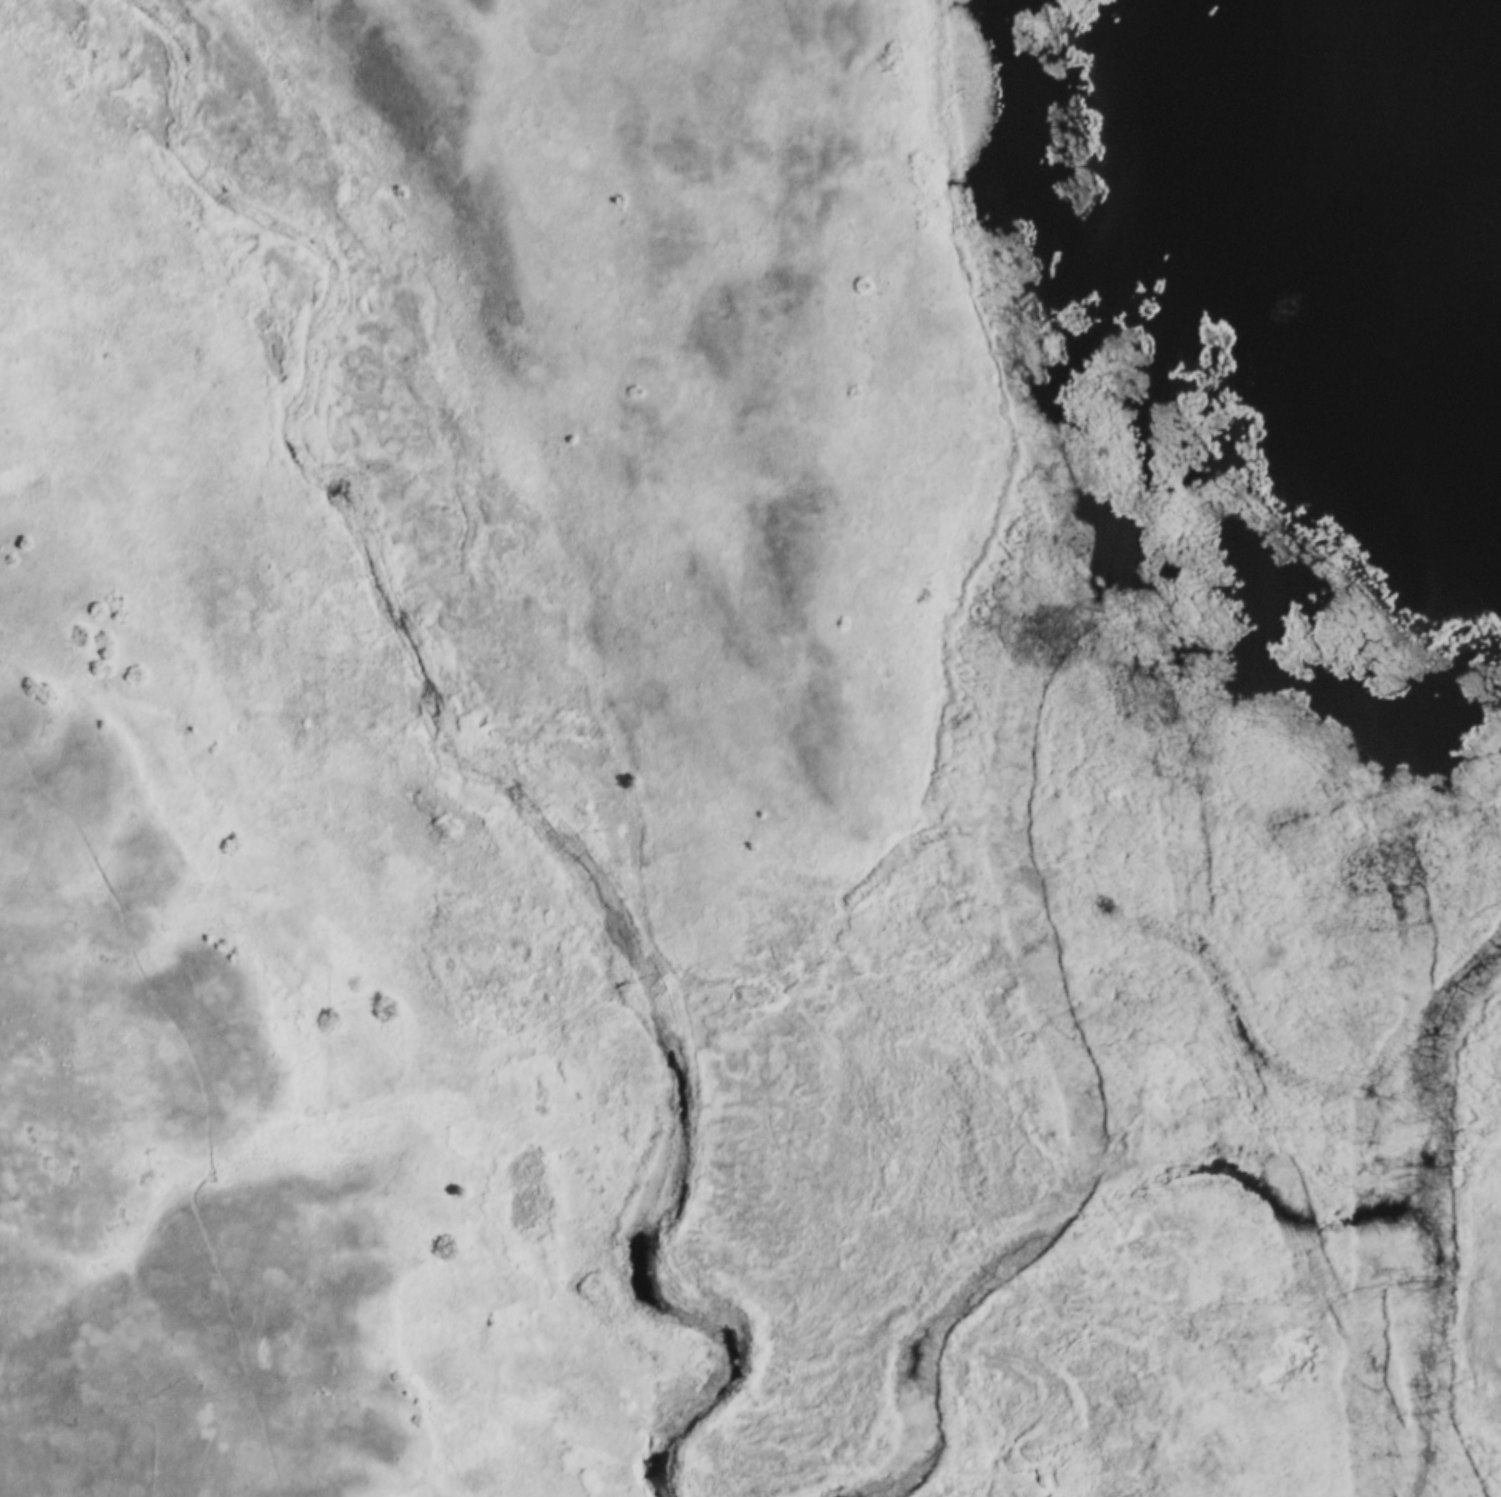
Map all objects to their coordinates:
river: (436, 722)
road: (182, 1081)
river: (1388, 1215)
river: (1446, 1241)
river: (1046, 1260)
river: (1437, 1386)

